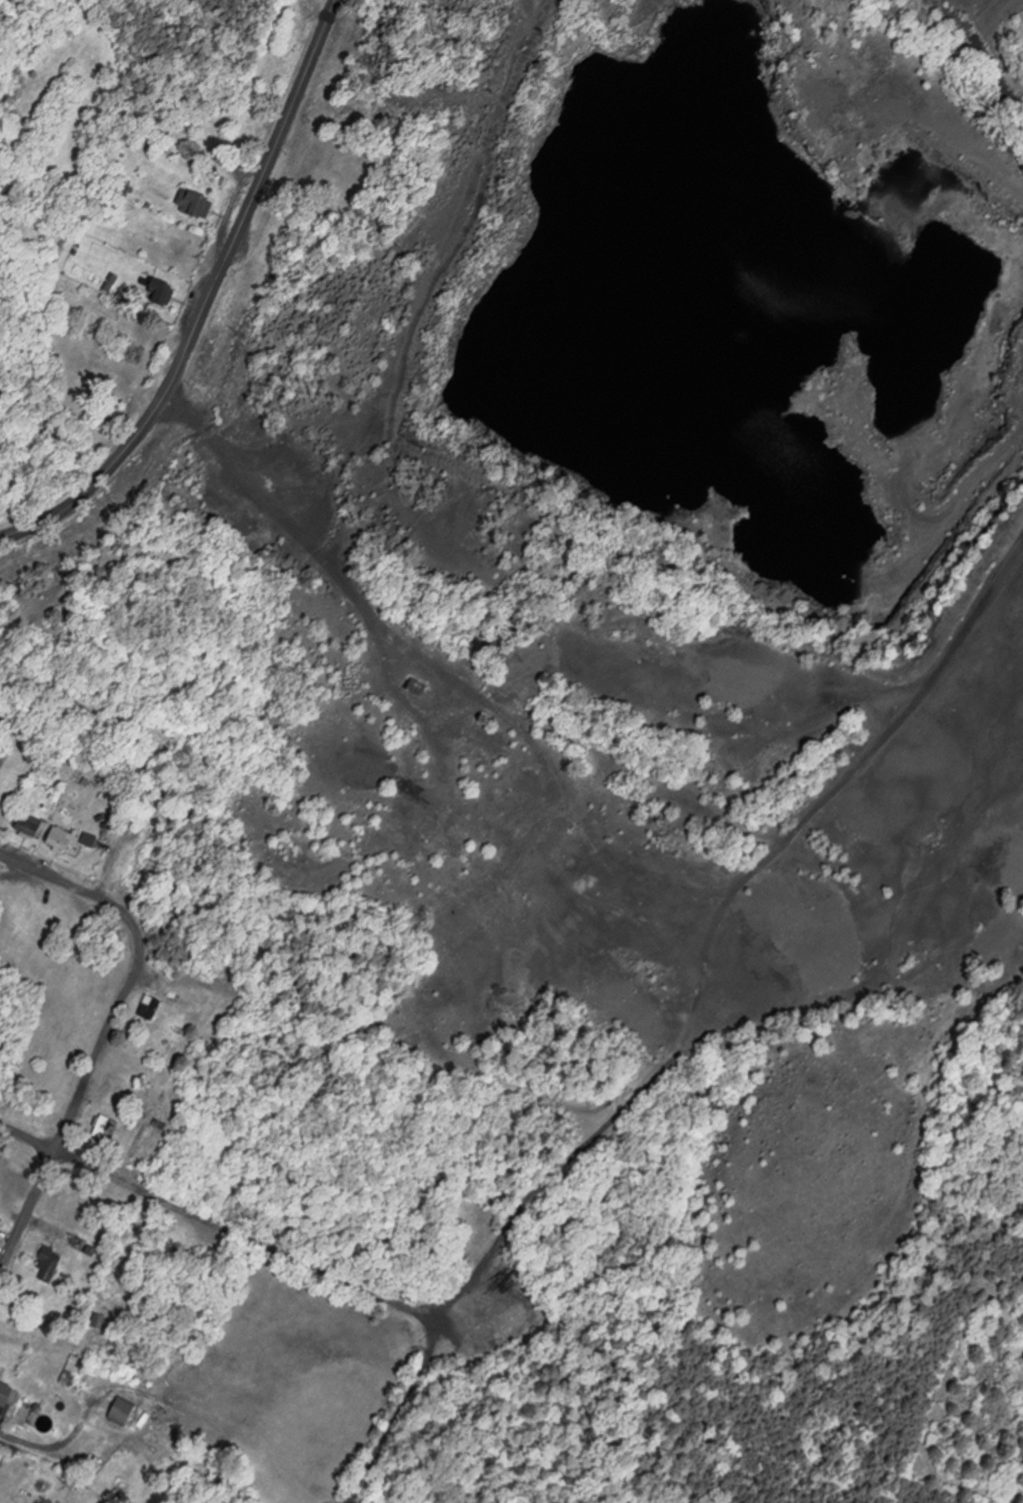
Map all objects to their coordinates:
road: (967, 12)
road: (993, 37)
building: (198, 204)
building: (157, 289)
road: (208, 301)
road: (950, 513)
quarry: (608, 534)
road: (837, 785)
building: (33, 826)
building: (65, 840)
building: (152, 1007)
road: (108, 1028)
building: (117, 1086)
building: (107, 1128)
road: (220, 1225)
road: (494, 1252)
building: (48, 1269)
building: (483, 1317)
building: (73, 1371)
building: (7, 1396)
building: (124, 1412)
road: (56, 1451)

